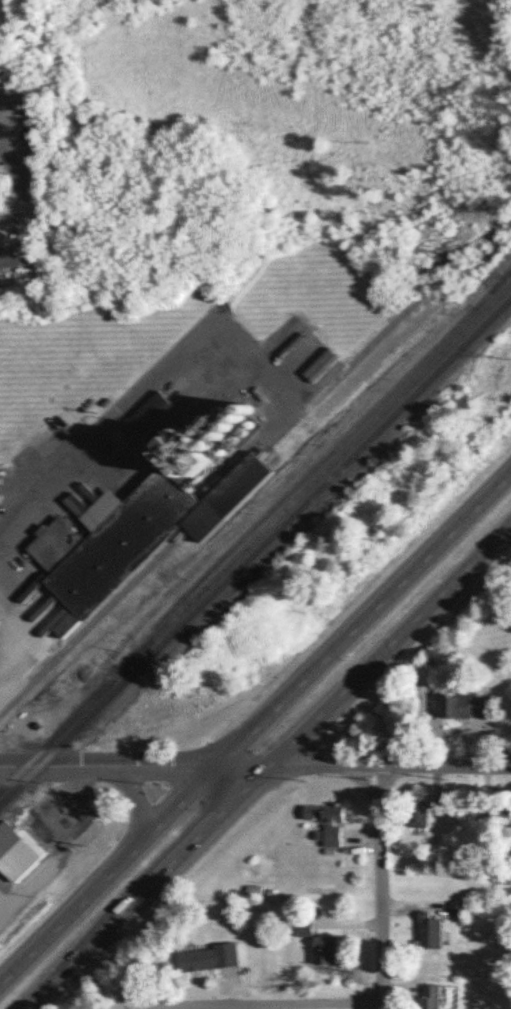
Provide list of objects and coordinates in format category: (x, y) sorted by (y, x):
building: (2, 190)
railway: (500, 281)
road: (145, 401)
building: (211, 441)
silo: (211, 441)
railway: (308, 472)
road: (31, 478)
railway: (207, 507)
building: (120, 537)
railway: (255, 540)
railway: (255, 552)
road: (41, 640)
building: (465, 706)
road: (252, 718)
road: (255, 766)
road: (265, 766)
building: (420, 811)
building: (504, 813)
building: (328, 821)
building: (16, 852)
road: (380, 888)
building: (458, 907)
building: (304, 928)
building: (431, 929)
building: (327, 951)
building: (208, 958)
building: (431, 996)
road: (267, 1006)

